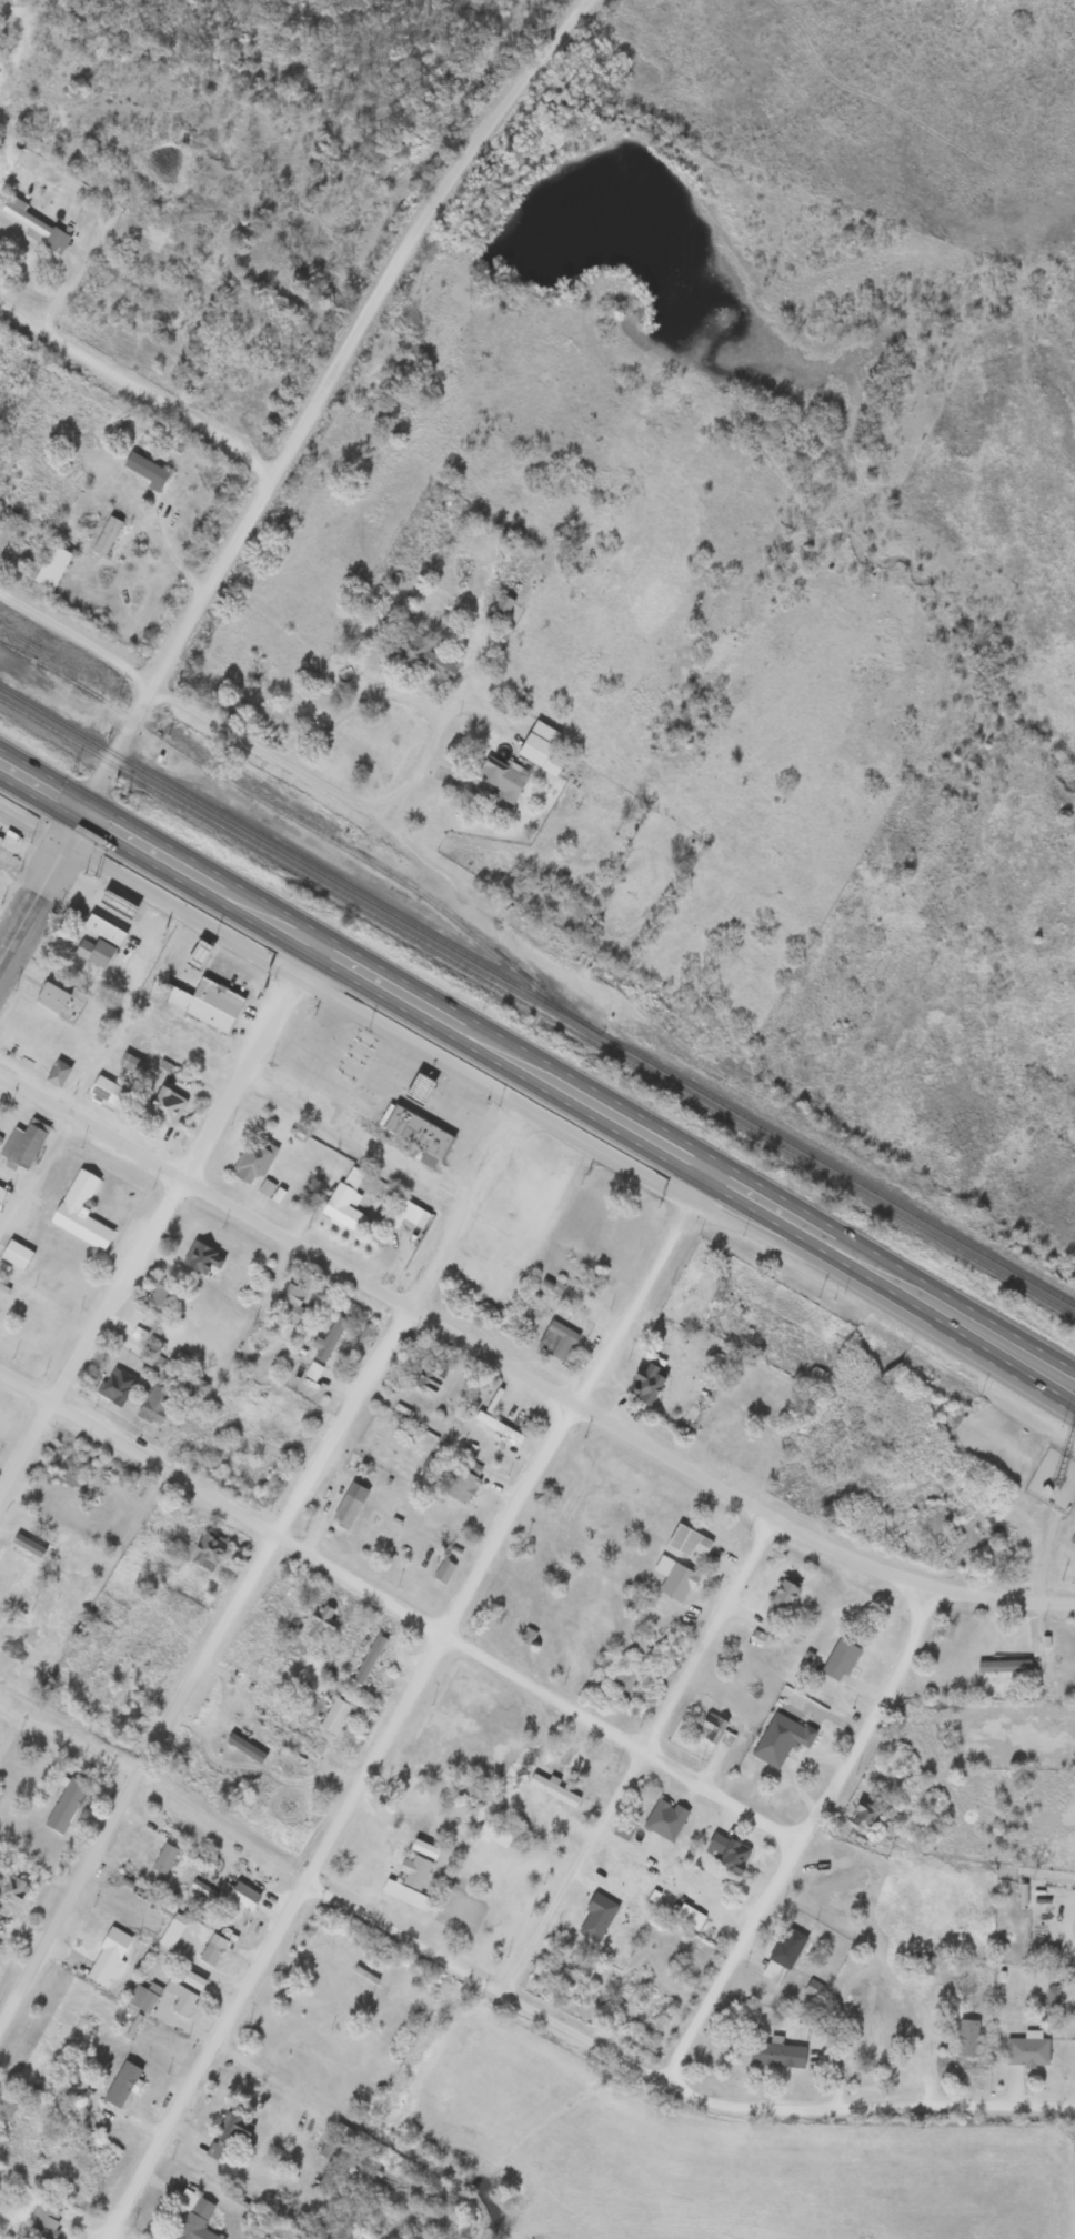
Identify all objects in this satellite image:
road: (505, 104)
building: (26, 220)
road: (135, 391)
building: (143, 469)
road: (267, 483)
building: (6, 529)
building: (106, 536)
building: (50, 568)
building: (424, 656)
road: (525, 724)
road: (248, 740)
building: (540, 754)
road: (99, 782)
building: (499, 783)
road: (41, 786)
building: (0, 837)
road: (41, 885)
building: (115, 904)
road: (8, 927)
building: (103, 930)
building: (93, 952)
building: (197, 954)
building: (50, 997)
railway: (537, 997)
building: (204, 1003)
railway: (536, 1008)
building: (22, 1048)
building: (193, 1053)
building: (129, 1063)
building: (57, 1072)
building: (418, 1088)
building: (109, 1092)
road: (575, 1094)
building: (164, 1107)
building: (413, 1132)
building: (24, 1143)
building: (253, 1159)
road: (32, 1166)
building: (270, 1192)
building: (2, 1195)
building: (343, 1202)
building: (79, 1213)
road: (158, 1223)
building: (380, 1247)
building: (14, 1255)
building: (203, 1262)
building: (162, 1299)
building: (289, 1303)
building: (328, 1338)
building: (555, 1341)
building: (150, 1358)
building: (312, 1372)
road: (524, 1376)
building: (429, 1379)
building: (645, 1384)
road: (1069, 1385)
building: (114, 1386)
road: (1069, 1389)
building: (154, 1406)
building: (713, 1430)
building: (770, 1463)
building: (461, 1487)
building: (348, 1506)
building: (686, 1540)
road: (271, 1545)
building: (205, 1552)
building: (9, 1569)
building: (442, 1570)
building: (673, 1578)
building: (781, 1596)
road: (402, 1607)
building: (320, 1623)
building: (841, 1656)
building: (369, 1658)
building: (1003, 1666)
road: (404, 1707)
building: (333, 1715)
building: (714, 1729)
building: (780, 1738)
road: (637, 1760)
building: (553, 1790)
building: (412, 1798)
building: (64, 1805)
building: (863, 1816)
building: (663, 1818)
building: (622, 1829)
road: (806, 1838)
building: (423, 1848)
building: (733, 1856)
building: (162, 1858)
building: (406, 1882)
building: (837, 1882)
building: (13, 1888)
building: (242, 1894)
building: (211, 1949)
building: (782, 1955)
building: (107, 1956)
building: (564, 1977)
building: (965, 2037)
building: (870, 2048)
building: (1025, 2050)
building: (776, 2055)
road: (670, 2079)
building: (121, 2085)
building: (231, 2127)
building: (332, 2151)
building: (192, 2217)
building: (42, 2222)

